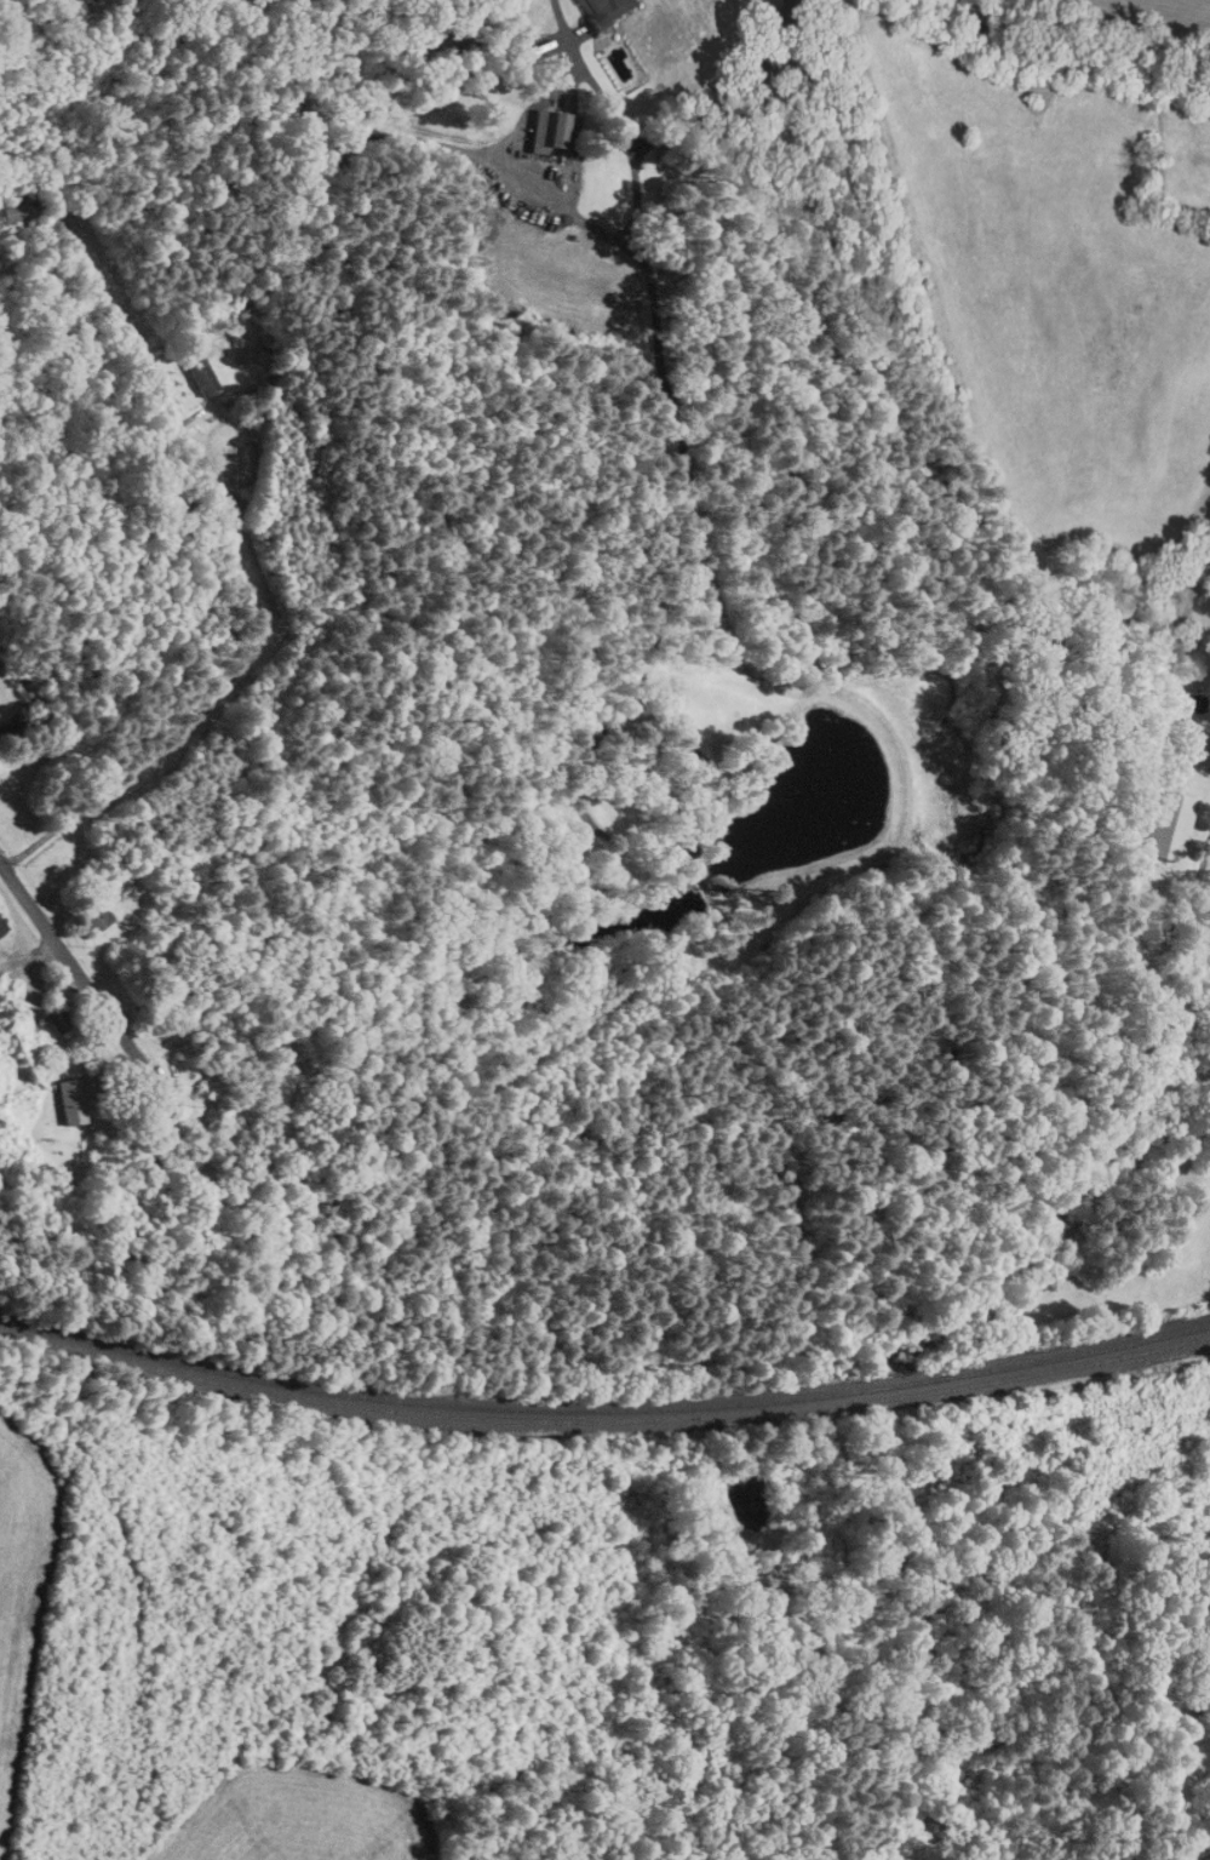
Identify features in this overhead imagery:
building: (604, 11)
building: (552, 135)
building: (17, 210)
building: (201, 378)
road: (247, 591)
building: (93, 916)
building: (1, 927)
road: (80, 979)
building: (50, 1017)
building: (68, 1103)
building: (165, 1140)
building: (213, 1200)
railway: (603, 1407)

